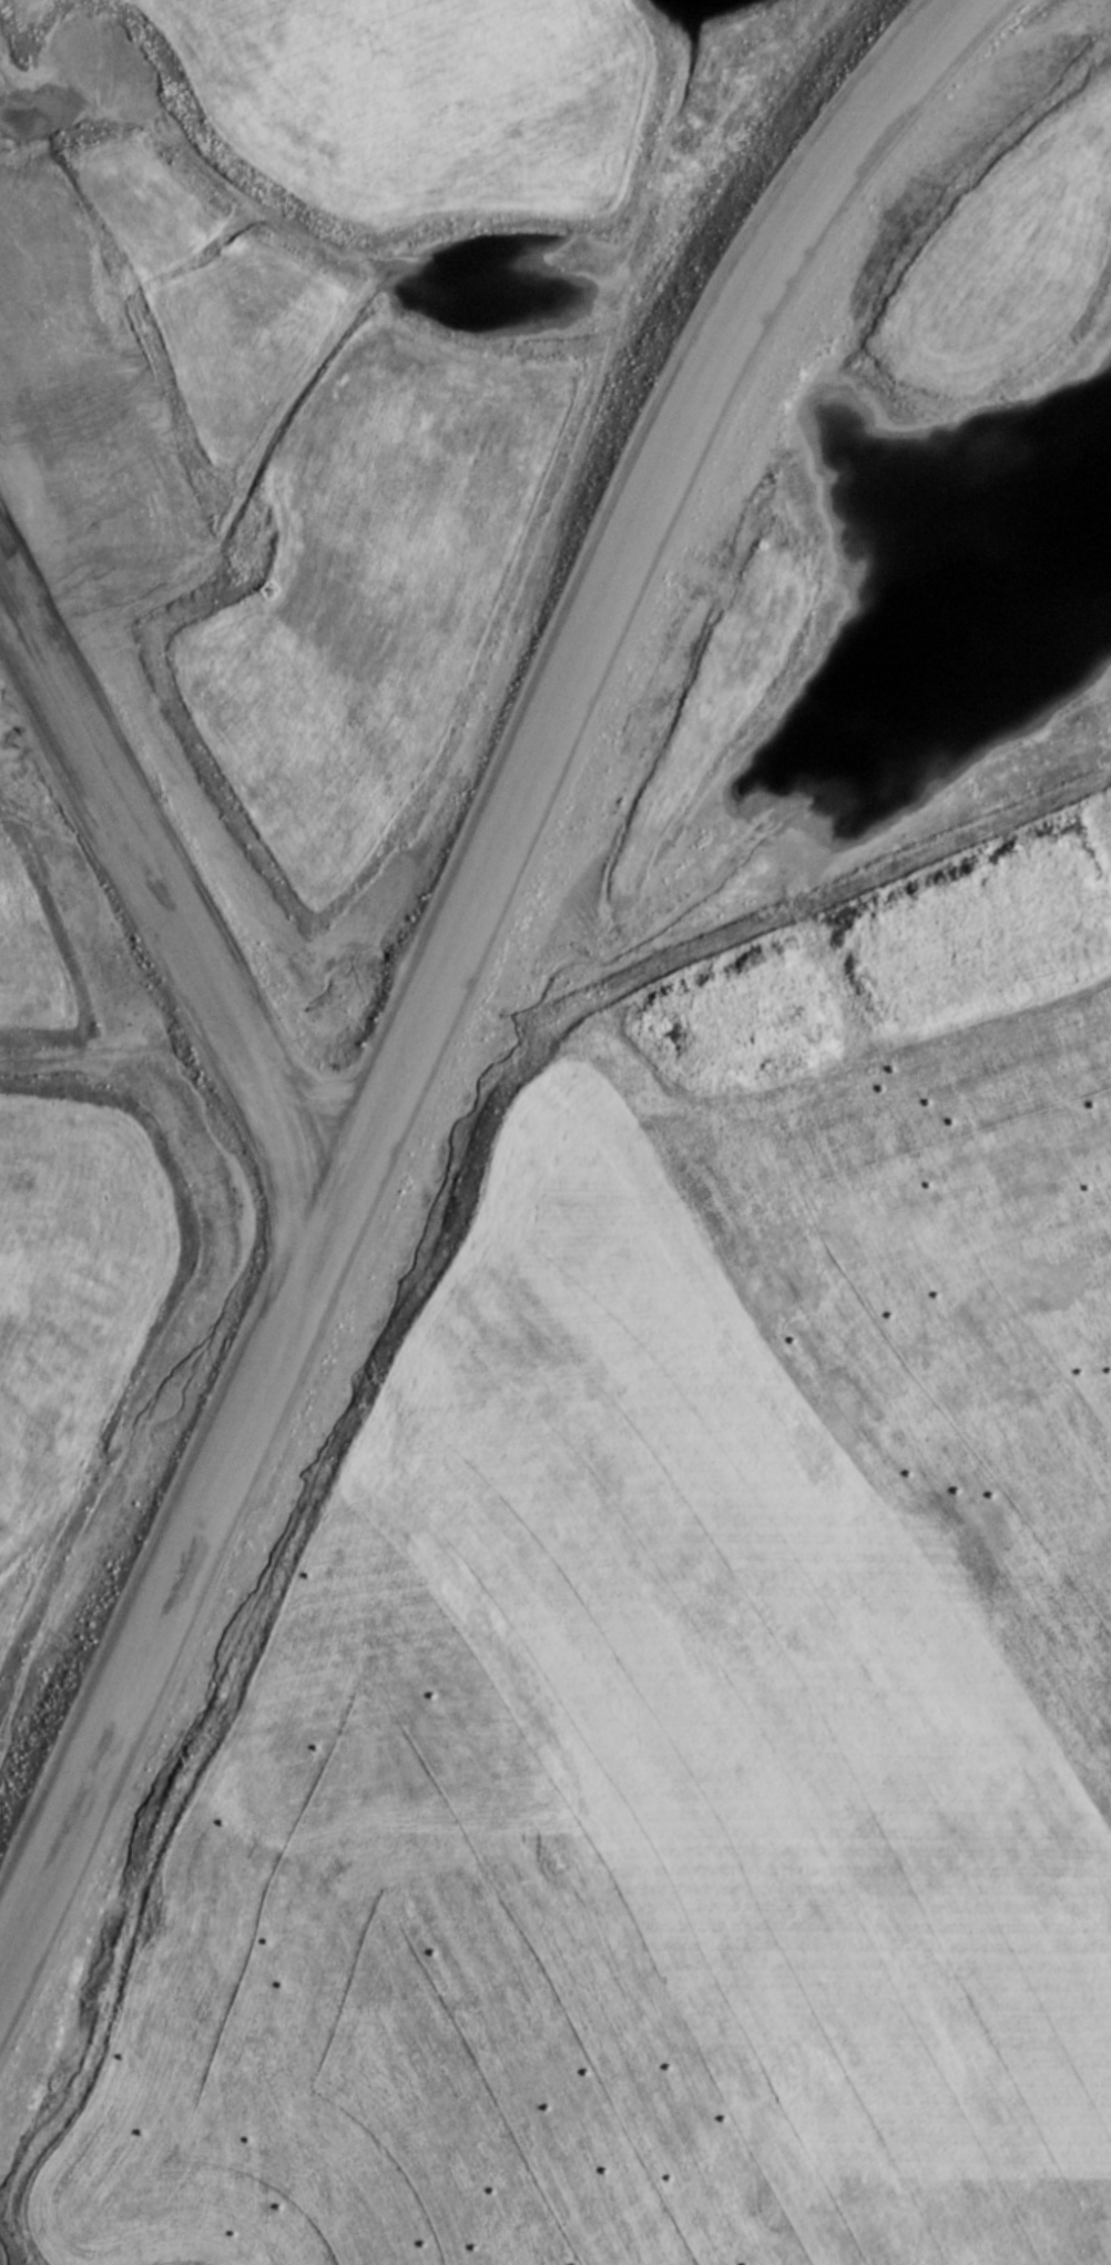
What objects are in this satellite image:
building: (69, 1896)
building: (156, 1968)
building: (90, 2021)

